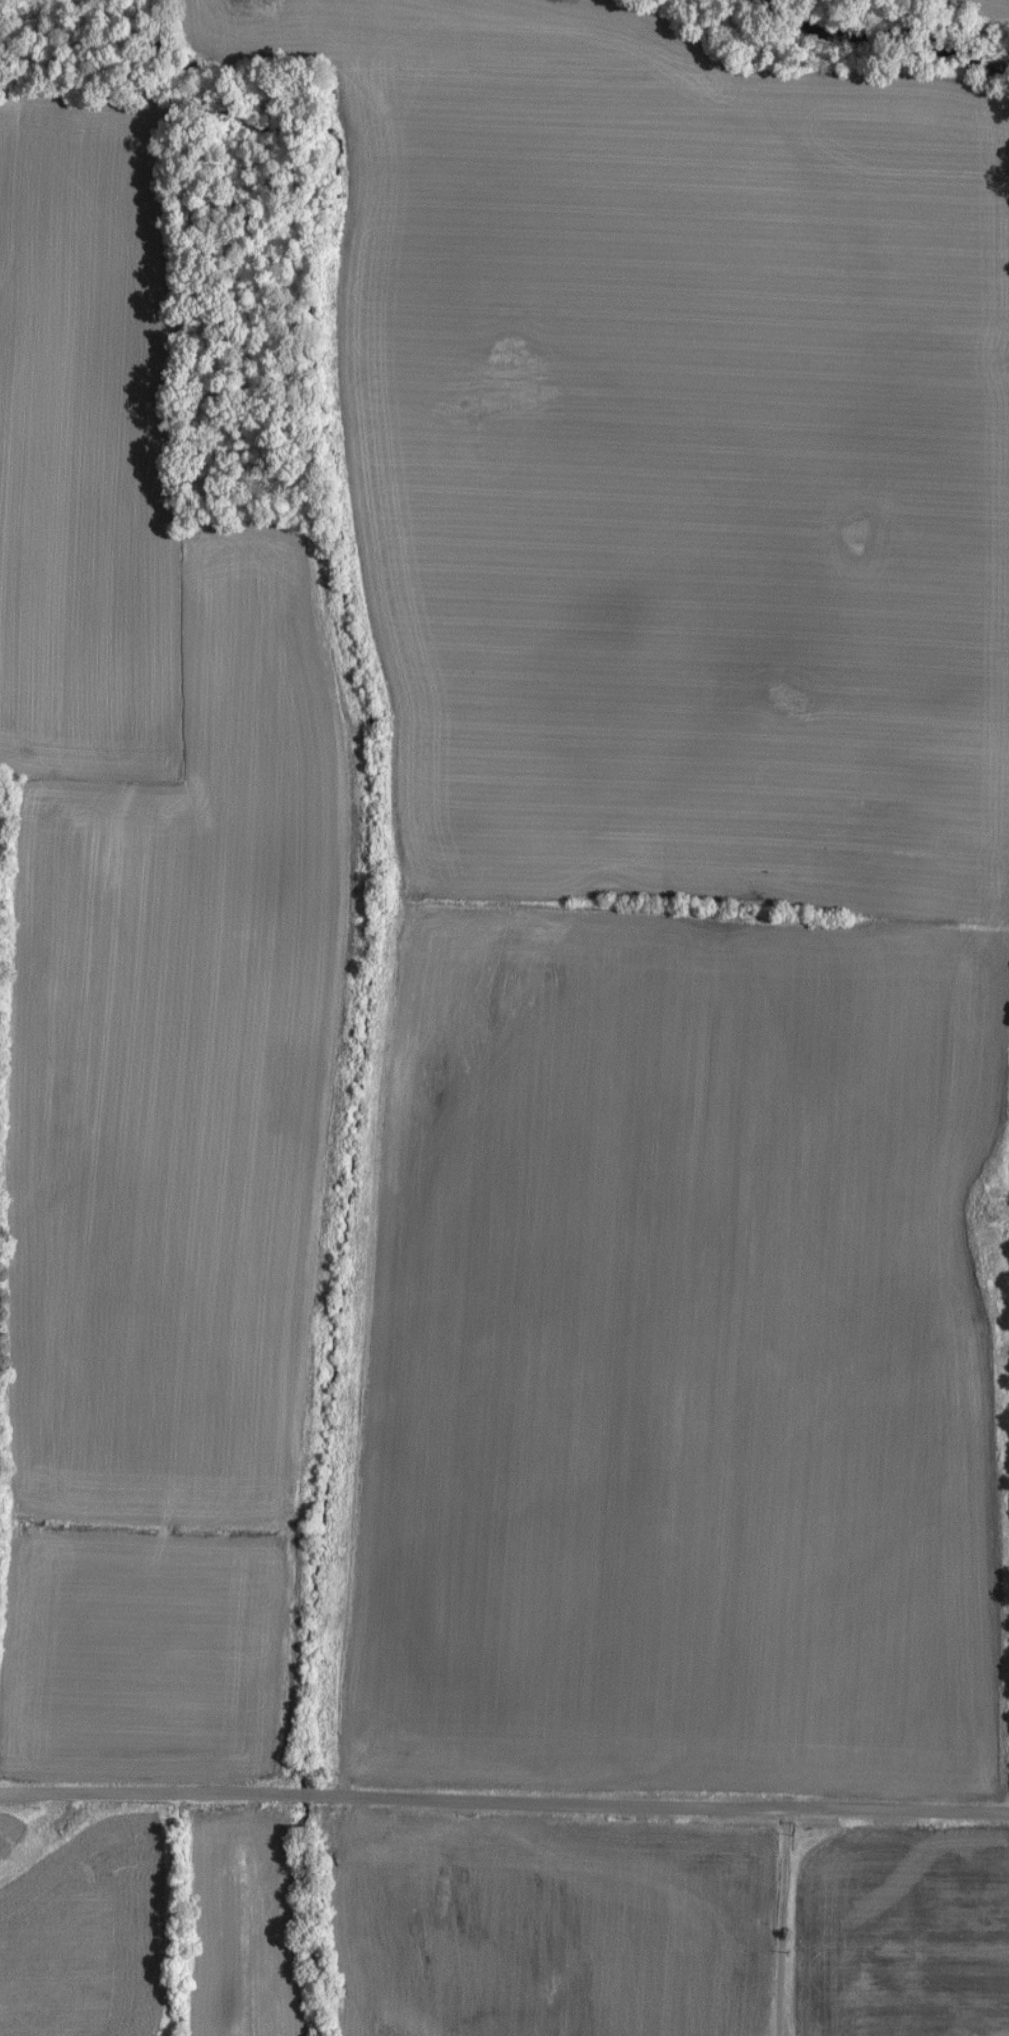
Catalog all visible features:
road: (504, 1801)
road: (781, 1921)

